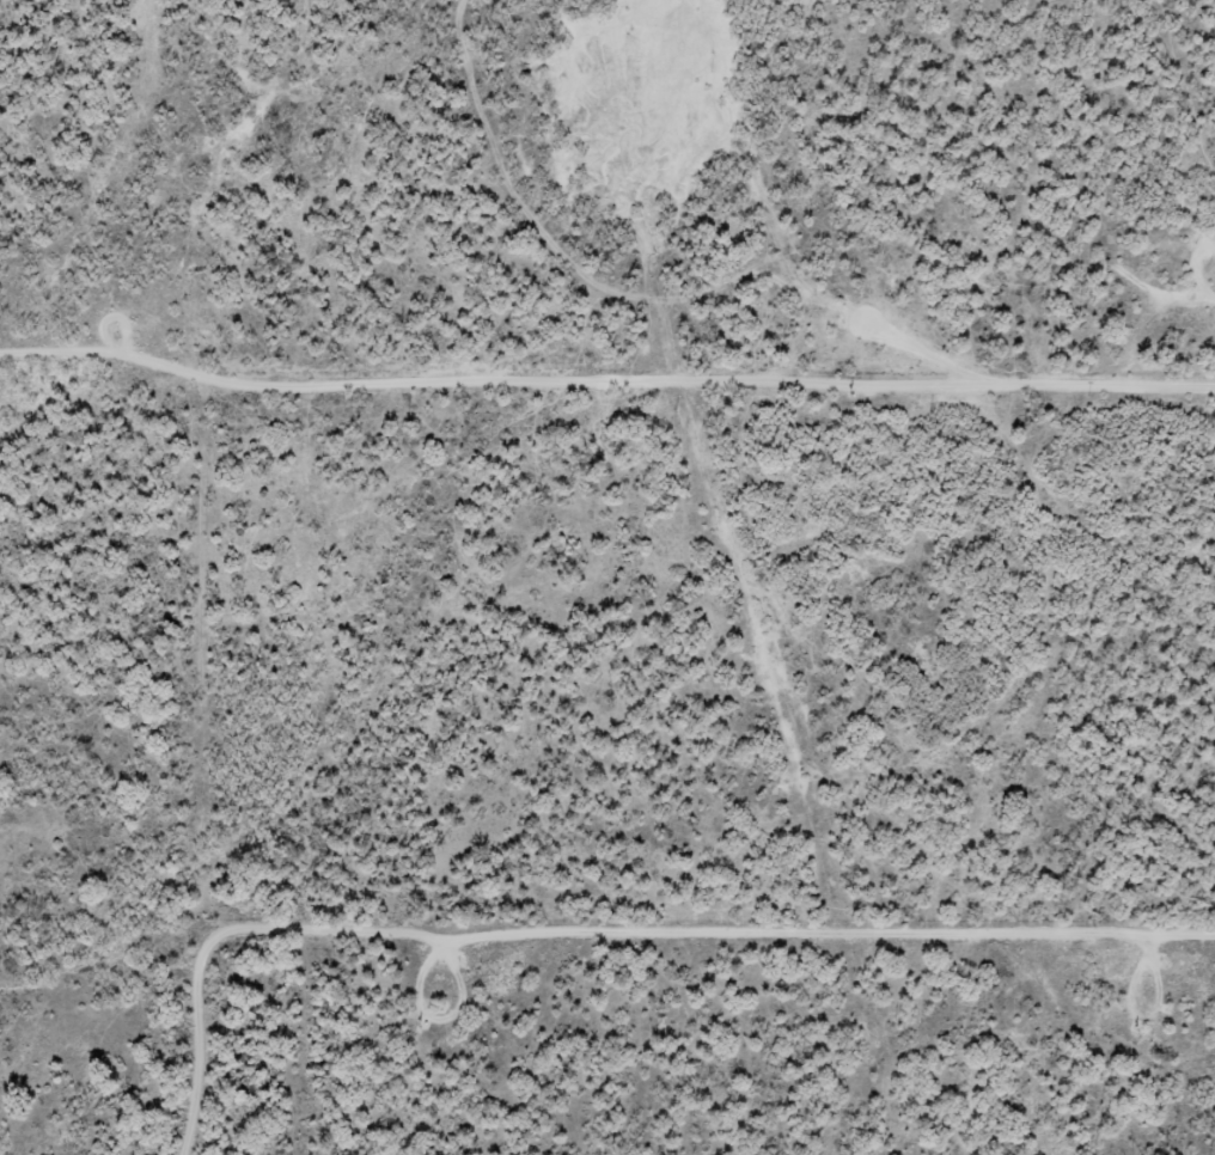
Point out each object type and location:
road: (1118, 380)
road: (926, 958)

